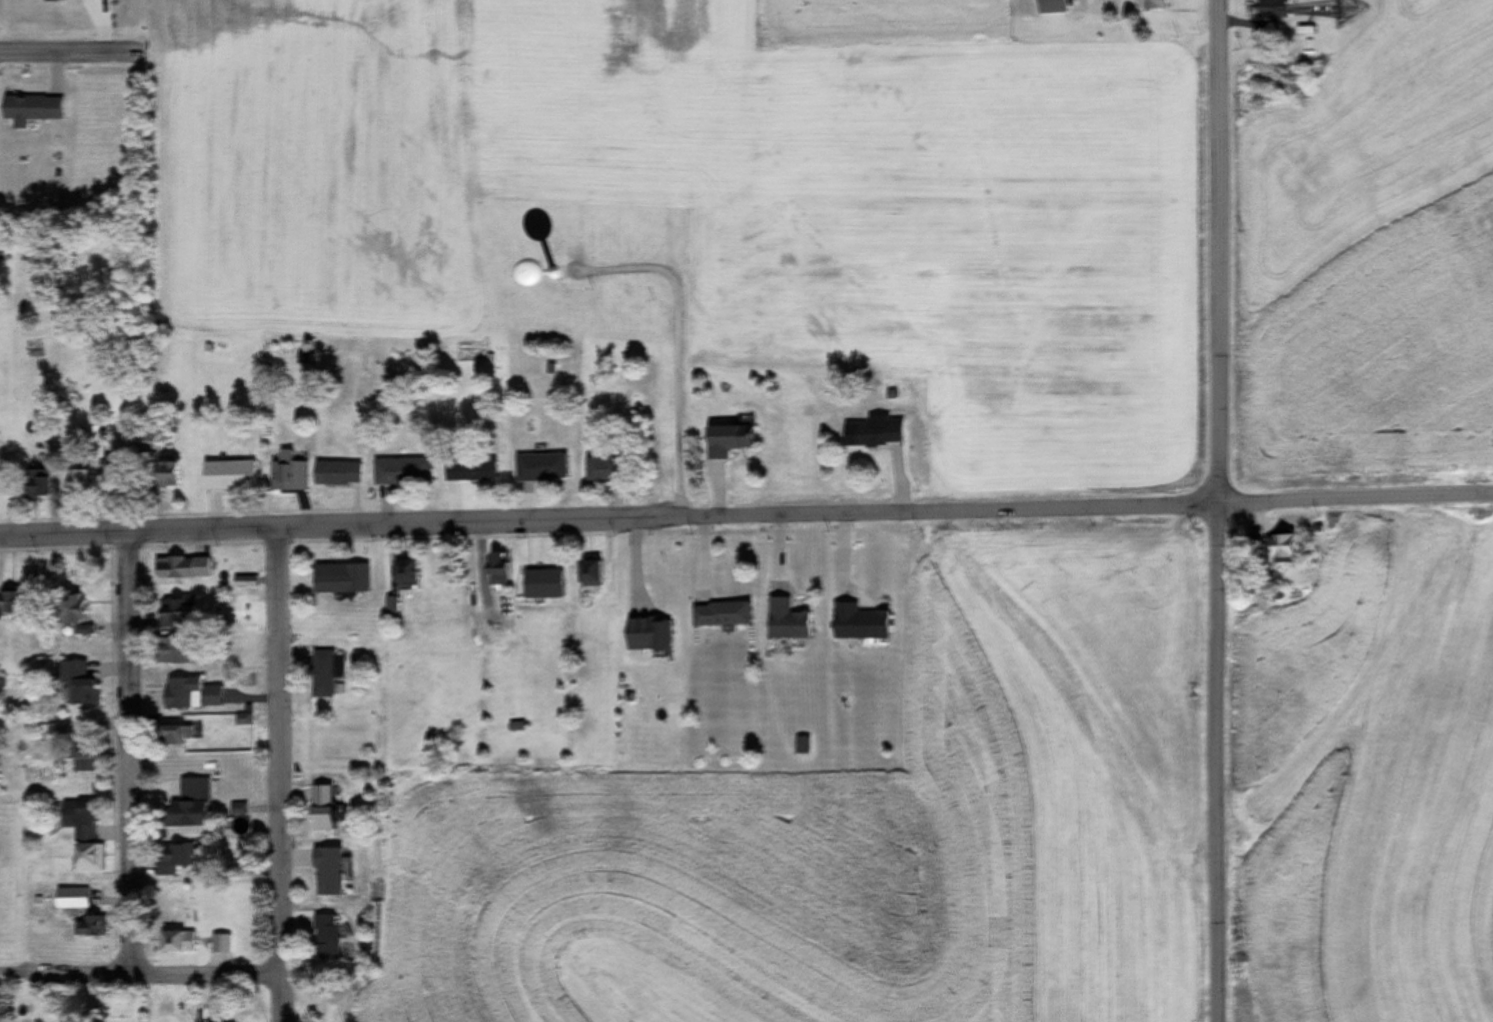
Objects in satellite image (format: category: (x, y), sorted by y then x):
building: (1150, 5)
building: (1051, 7)
road: (69, 53)
building: (30, 109)
water tower: (550, 279)
building: (875, 435)
building: (725, 441)
building: (148, 443)
building: (538, 469)
building: (468, 470)
building: (599, 470)
building: (400, 473)
building: (164, 474)
building: (287, 474)
building: (337, 475)
building: (227, 476)
building: (75, 483)
building: (30, 485)
road: (1354, 501)
road: (1216, 511)
road: (608, 521)
building: (1277, 549)
building: (178, 569)
building: (493, 569)
building: (402, 573)
building: (586, 574)
building: (337, 582)
building: (539, 585)
building: (8, 602)
building: (68, 613)
building: (172, 613)
building: (718, 615)
building: (782, 621)
building: (857, 624)
building: (643, 636)
building: (170, 652)
building: (319, 673)
building: (75, 685)
building: (188, 695)
building: (512, 727)
building: (170, 737)
road: (126, 753)
building: (80, 755)
road: (276, 775)
building: (185, 807)
building: (318, 809)
building: (76, 821)
building: (84, 859)
building: (169, 859)
building: (323, 873)
building: (71, 899)
building: (86, 927)
building: (322, 938)
building: (173, 942)
building: (216, 943)
road: (138, 972)

